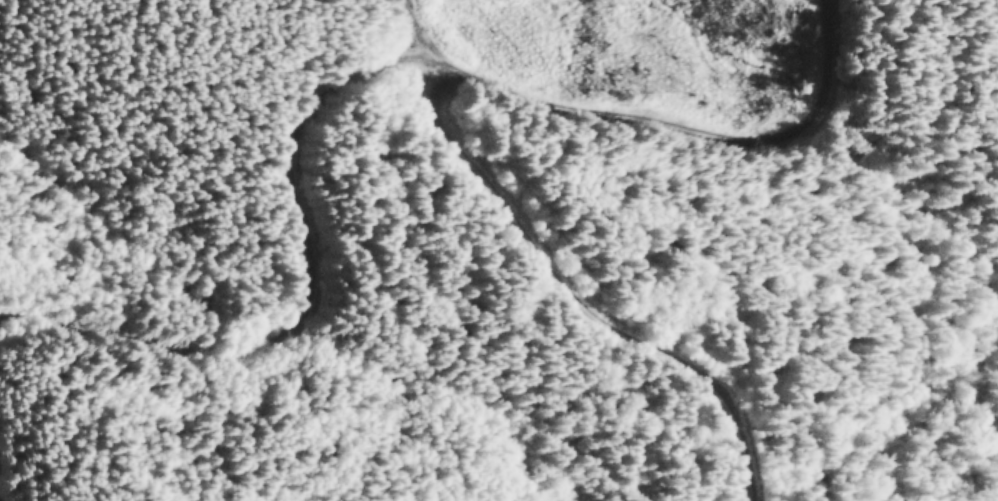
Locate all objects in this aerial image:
road: (365, 75)

